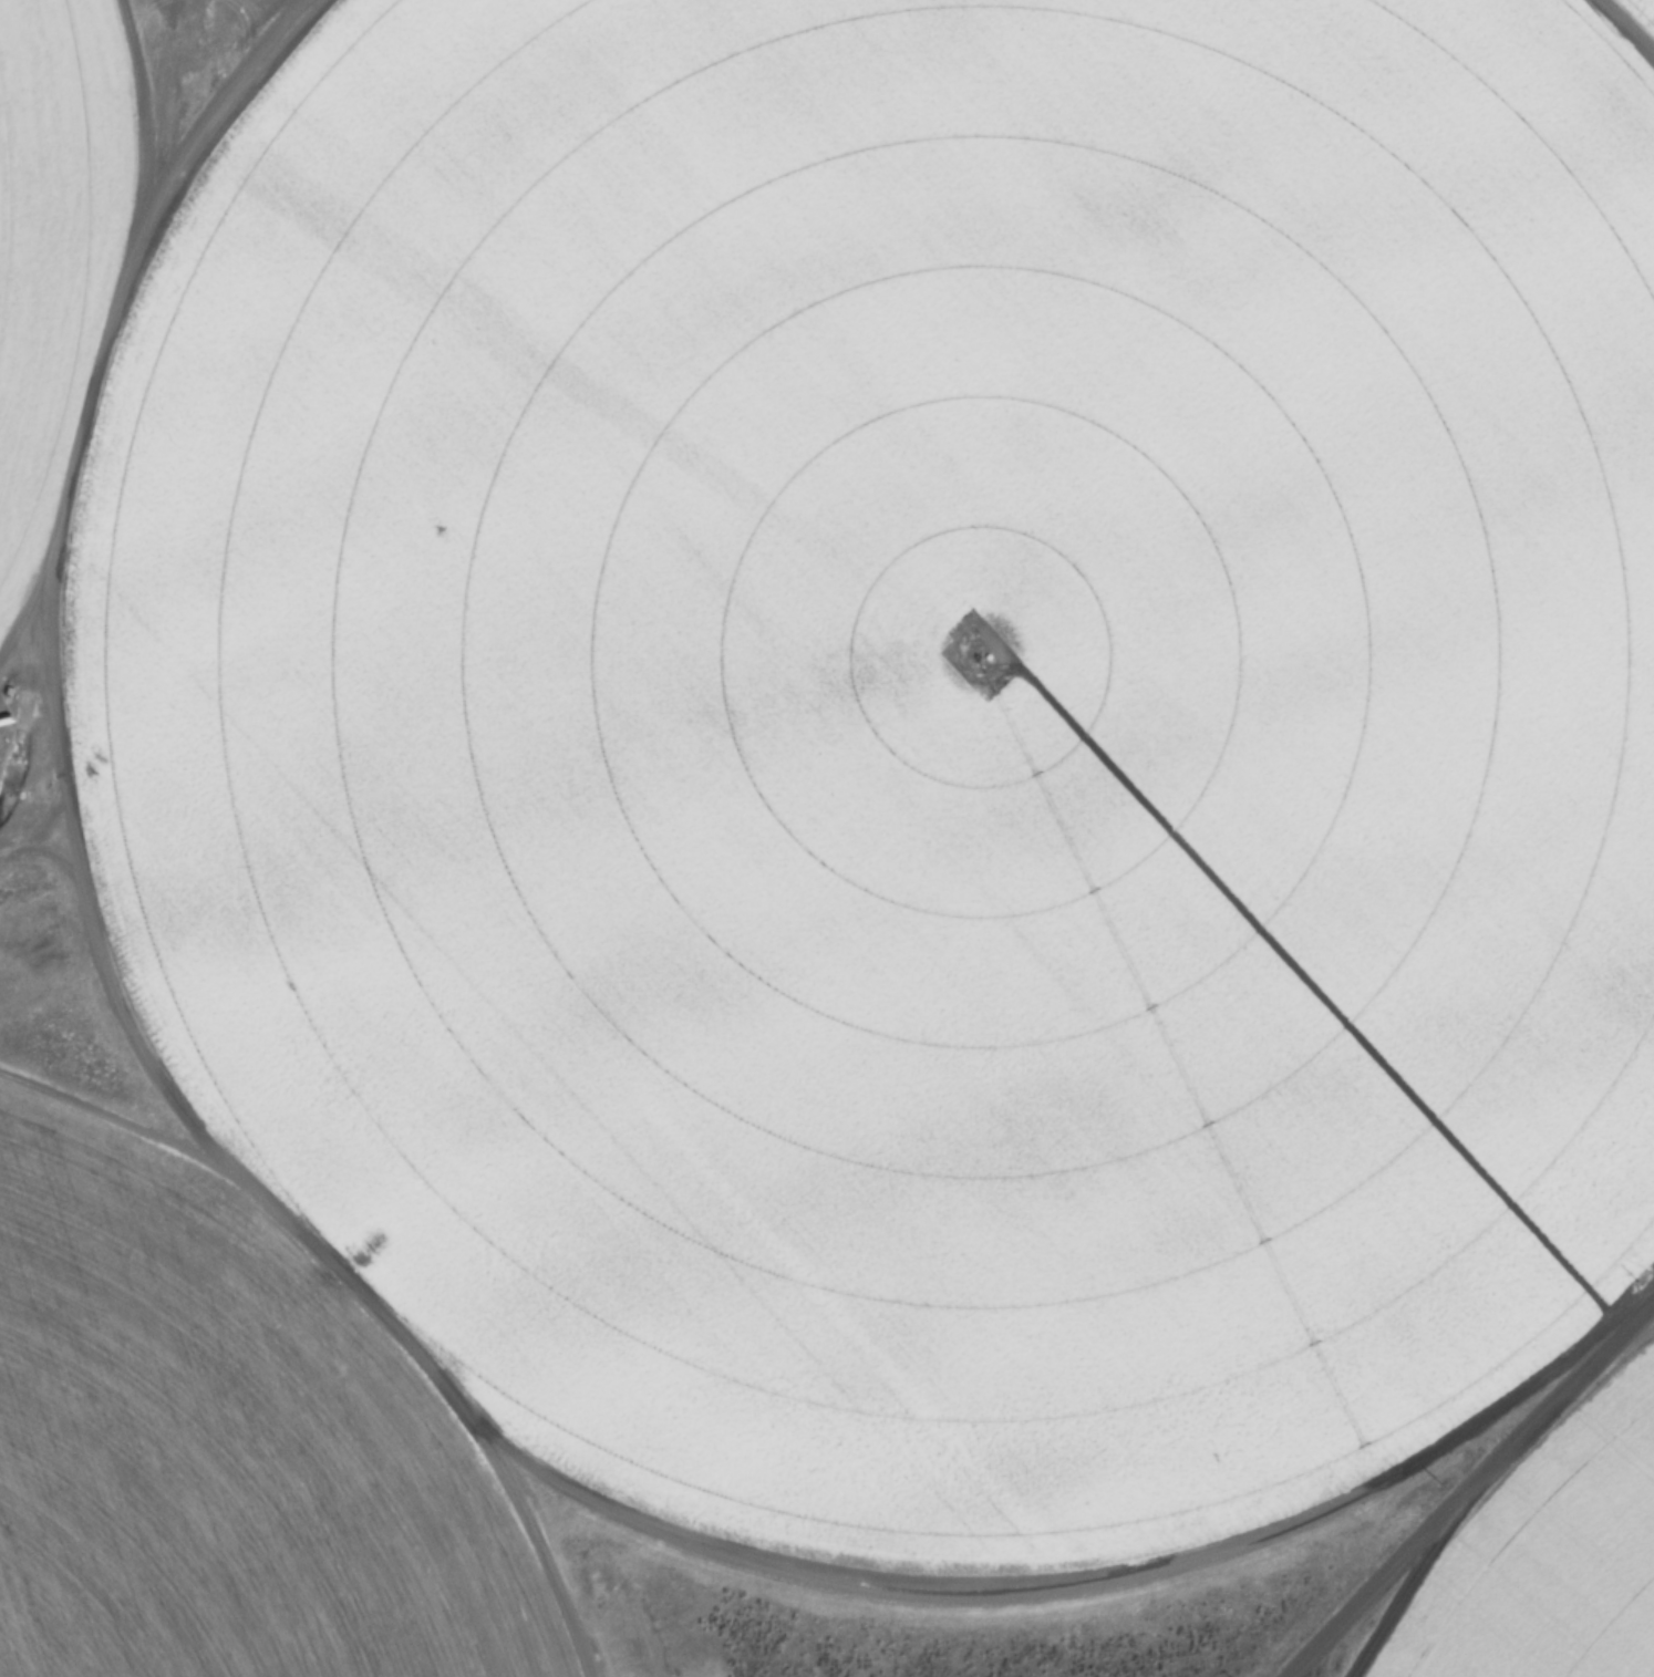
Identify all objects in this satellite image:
road: (1475, 1493)

